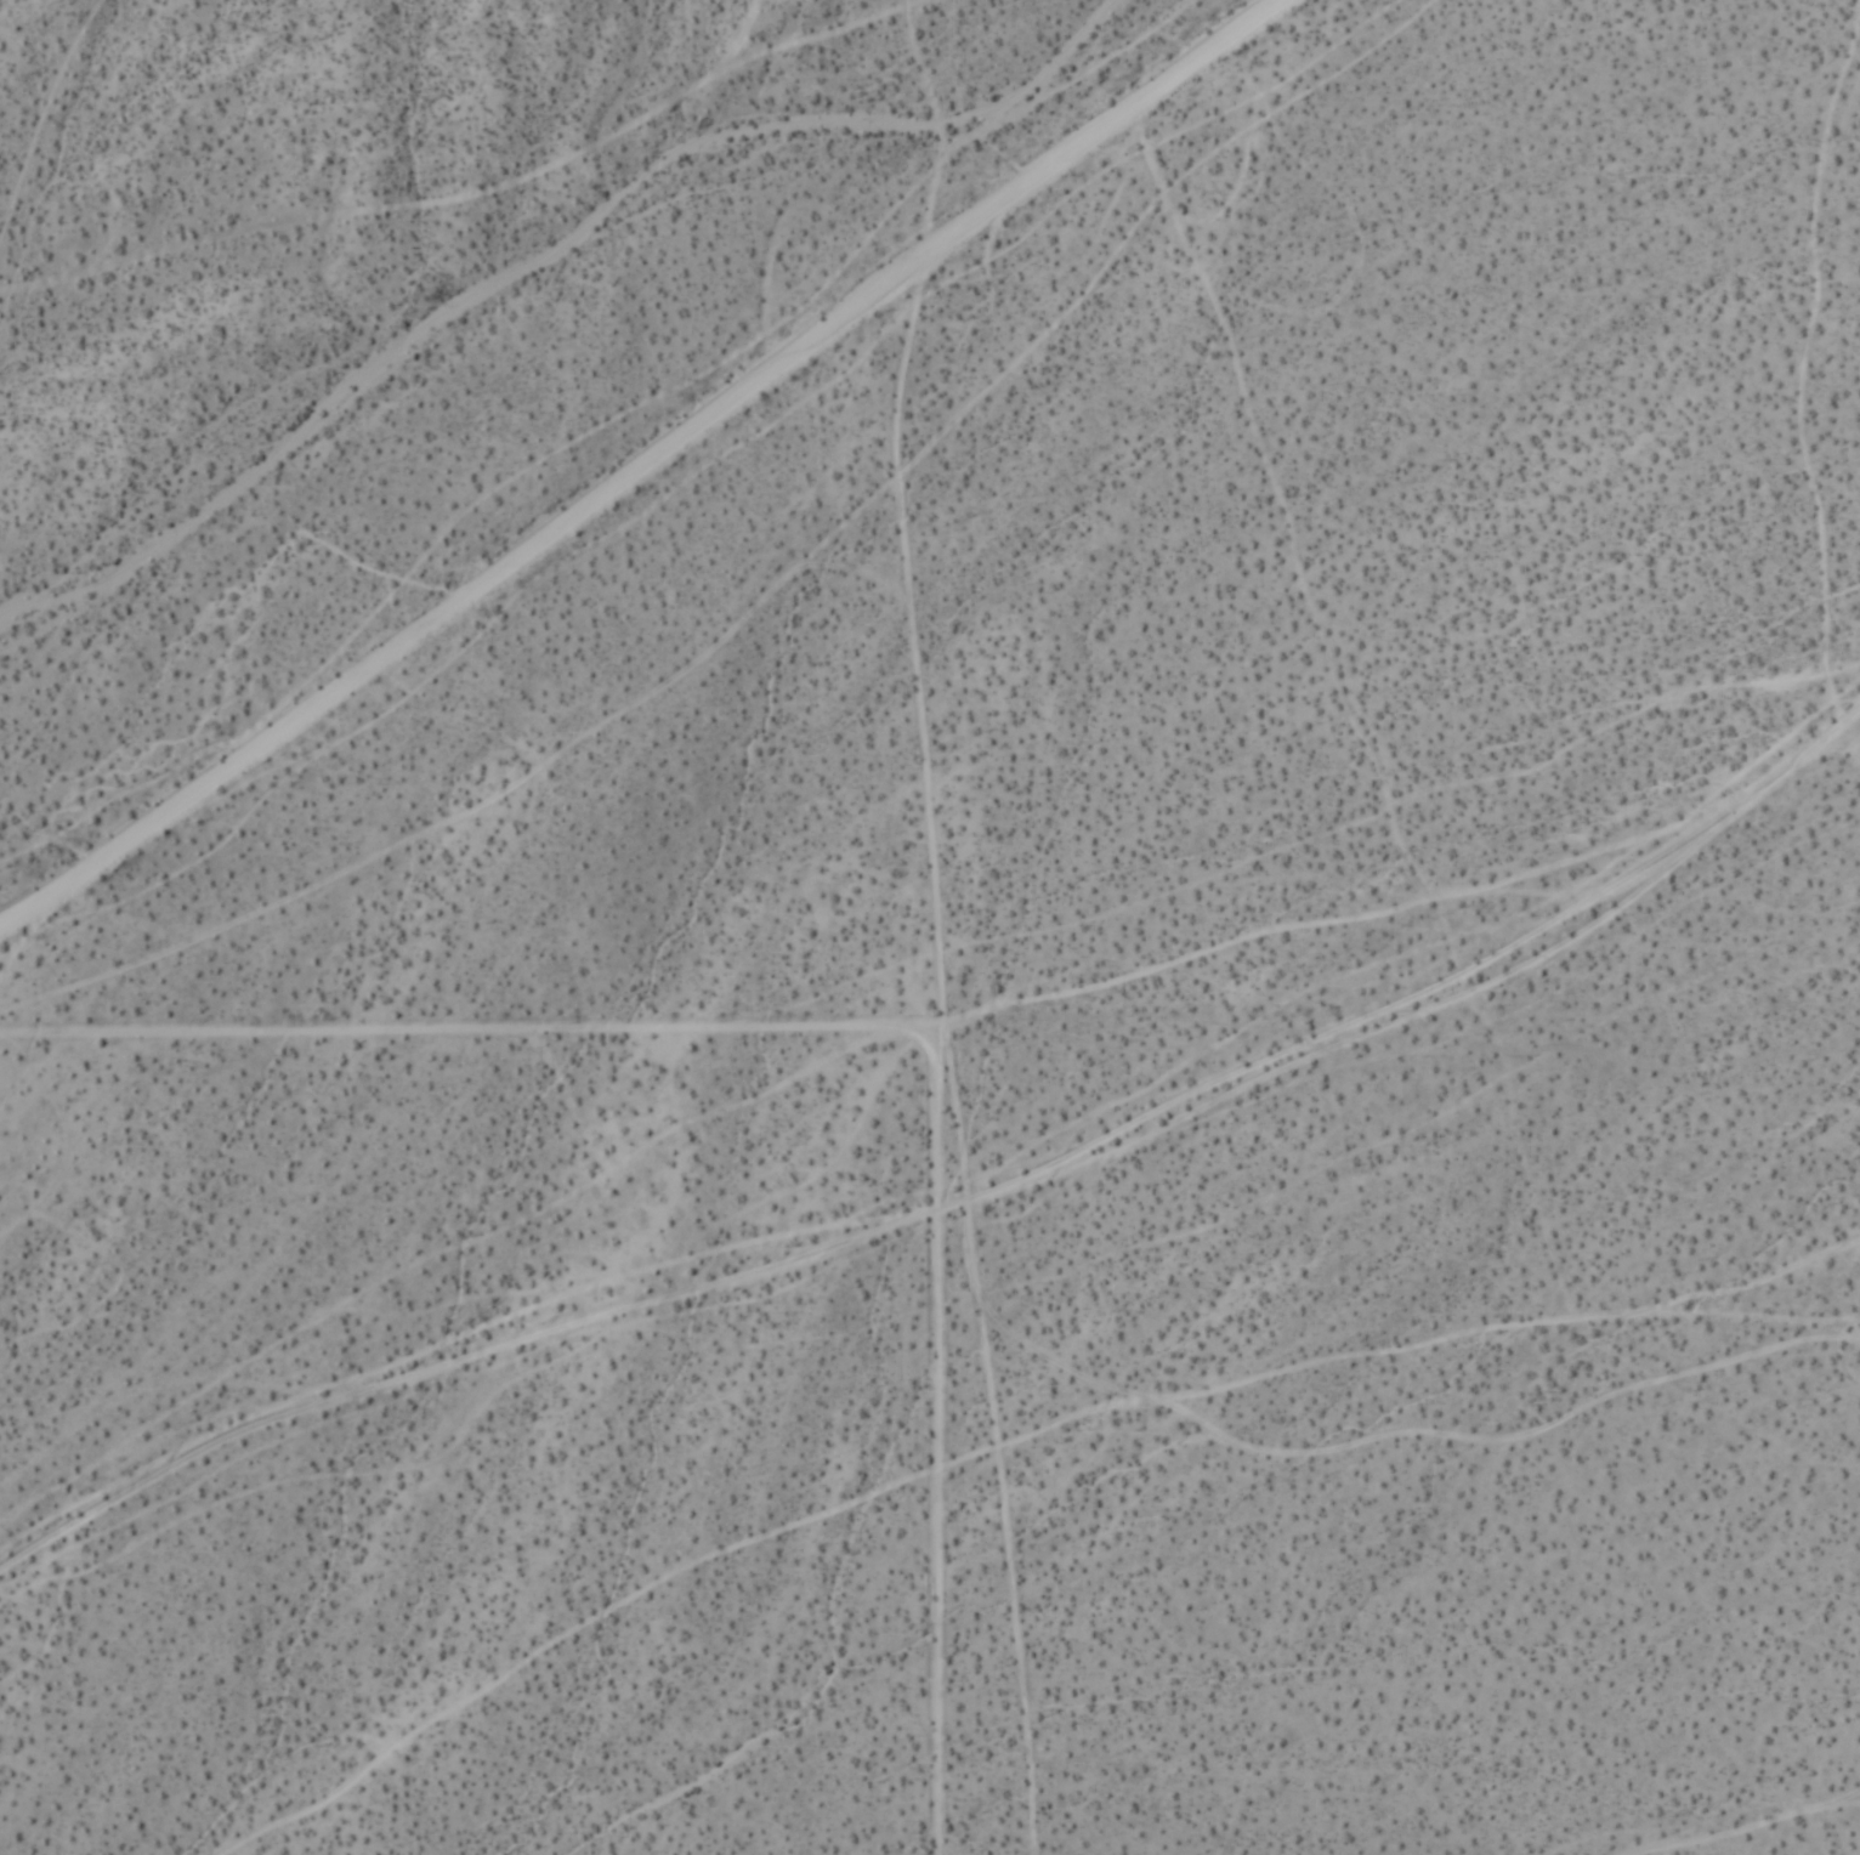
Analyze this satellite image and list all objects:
road: (642, 464)

